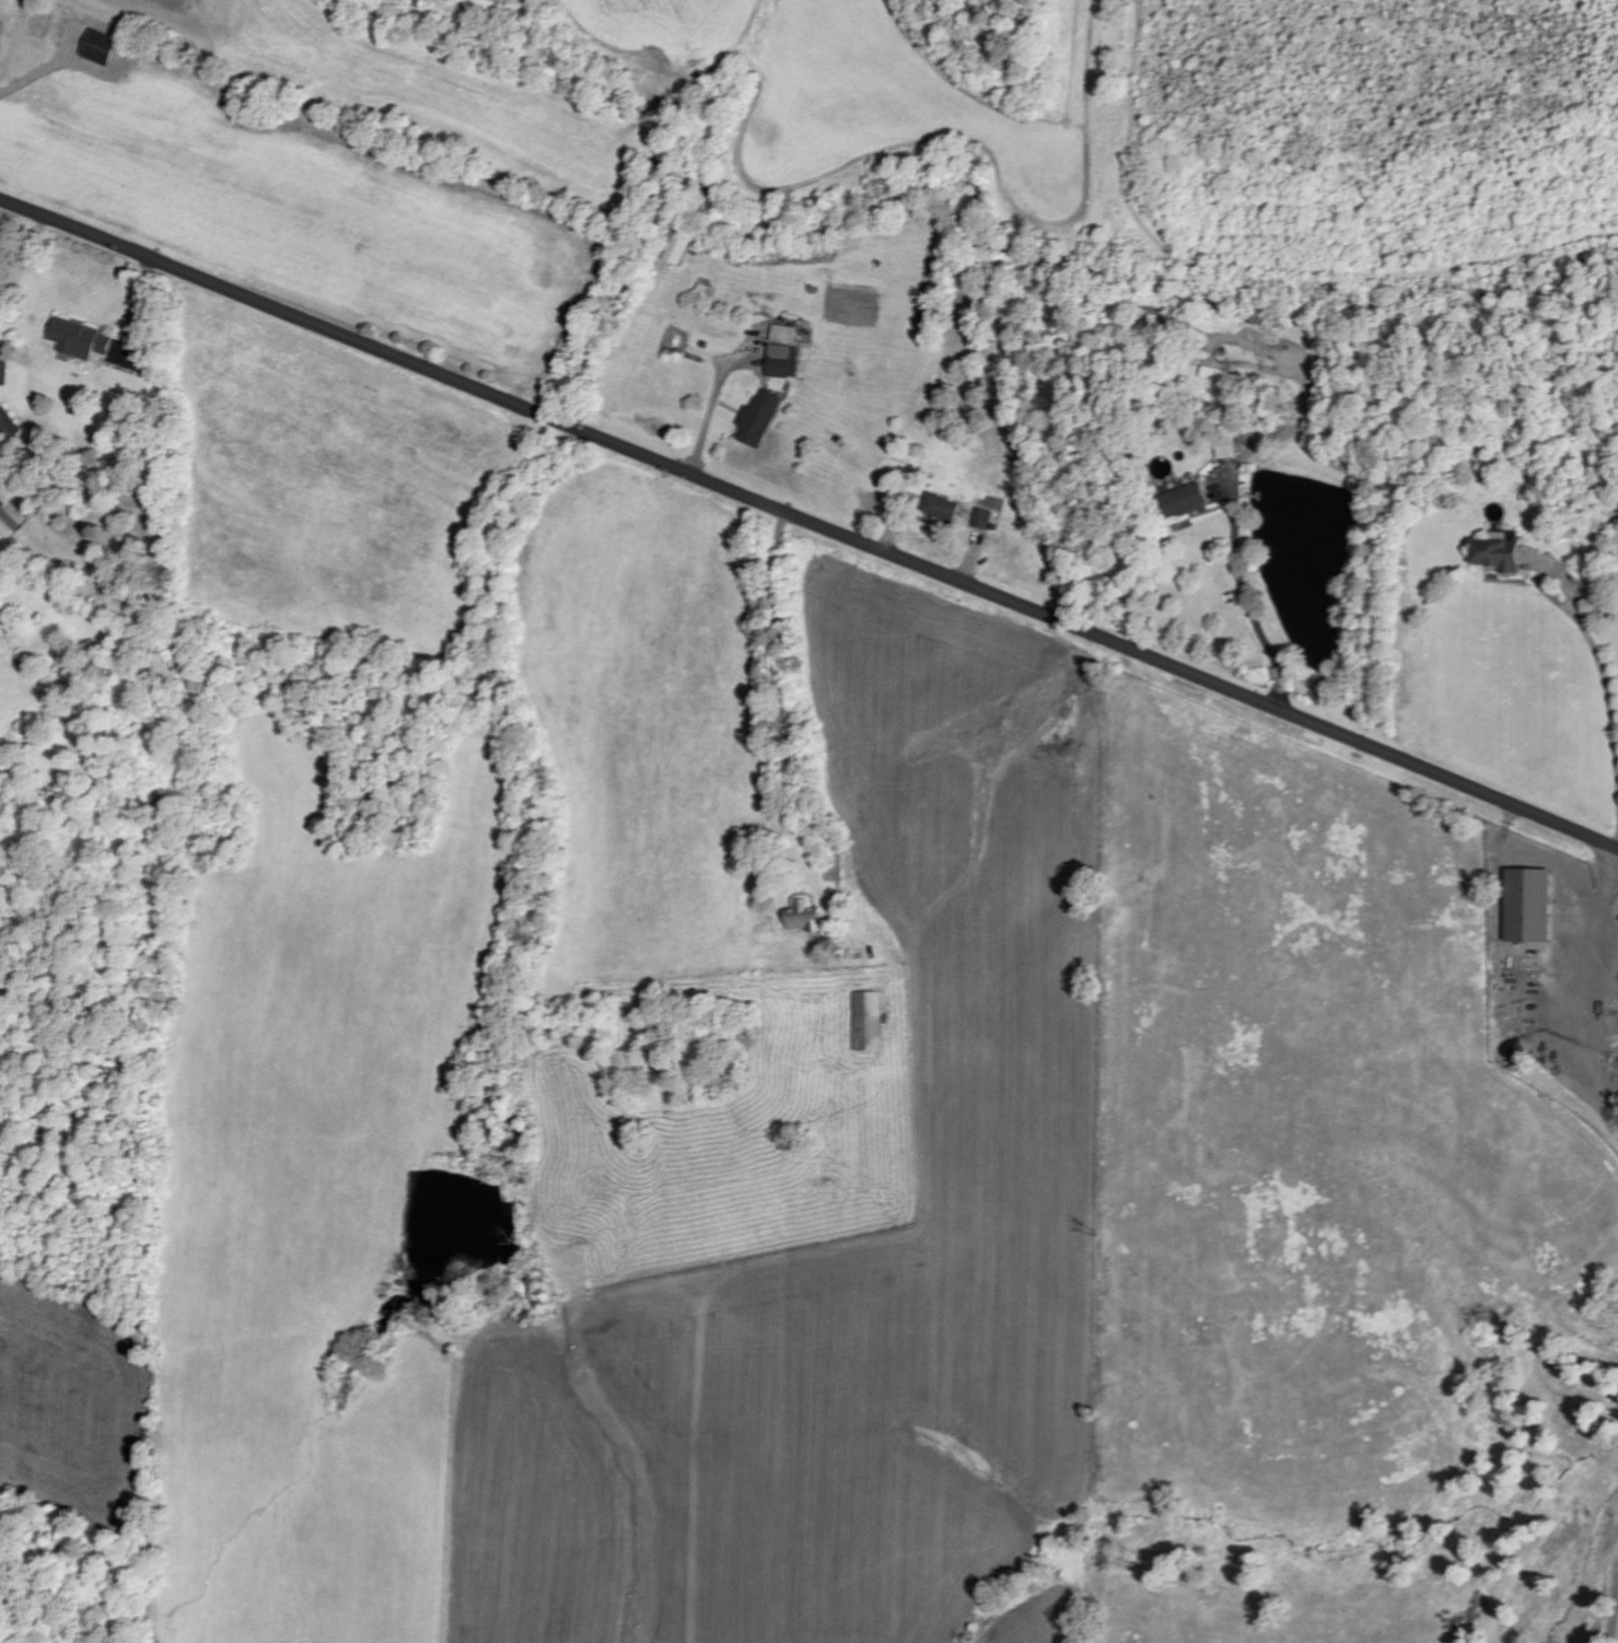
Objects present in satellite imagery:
building: (100, 49)
building: (677, 250)
building: (782, 335)
building: (78, 341)
building: (125, 357)
building: (781, 362)
building: (2, 374)
building: (756, 420)
building: (8, 428)
building: (1227, 450)
building: (1184, 502)
building: (940, 509)
road: (808, 520)
building: (11, 521)
building: (981, 521)
building: (1498, 555)
road: (1552, 587)
road: (805, 653)
building: (1528, 906)
building: (804, 916)
building: (866, 1022)
road: (1560, 1027)
road: (1609, 1555)

